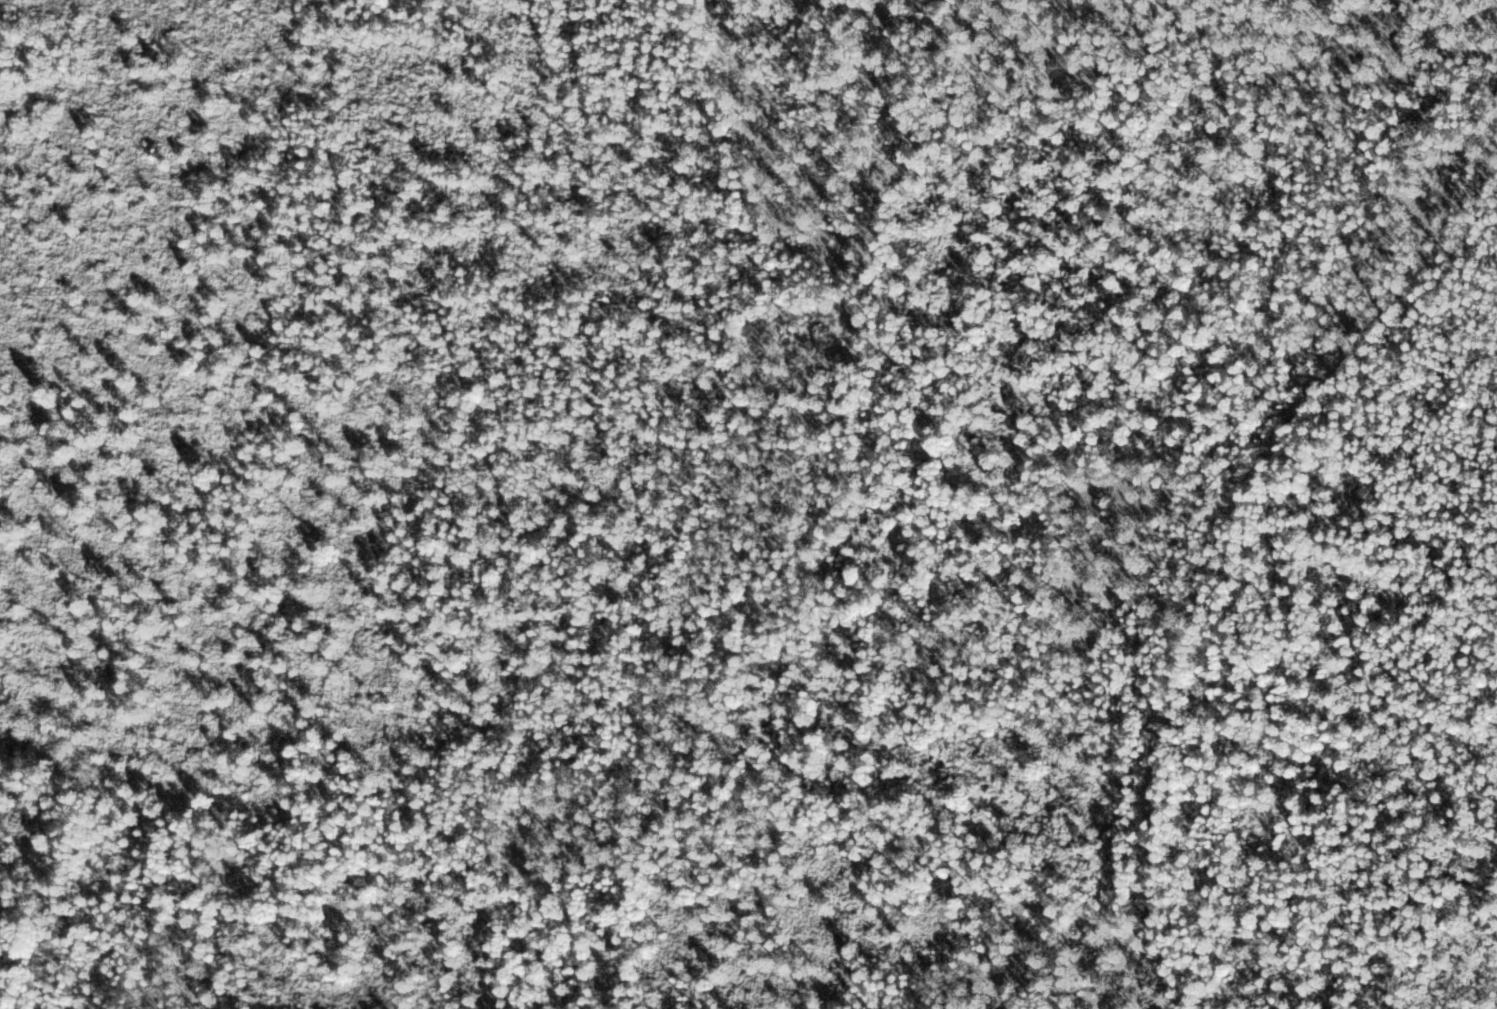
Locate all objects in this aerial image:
road: (1218, 37)
road: (1187, 502)

